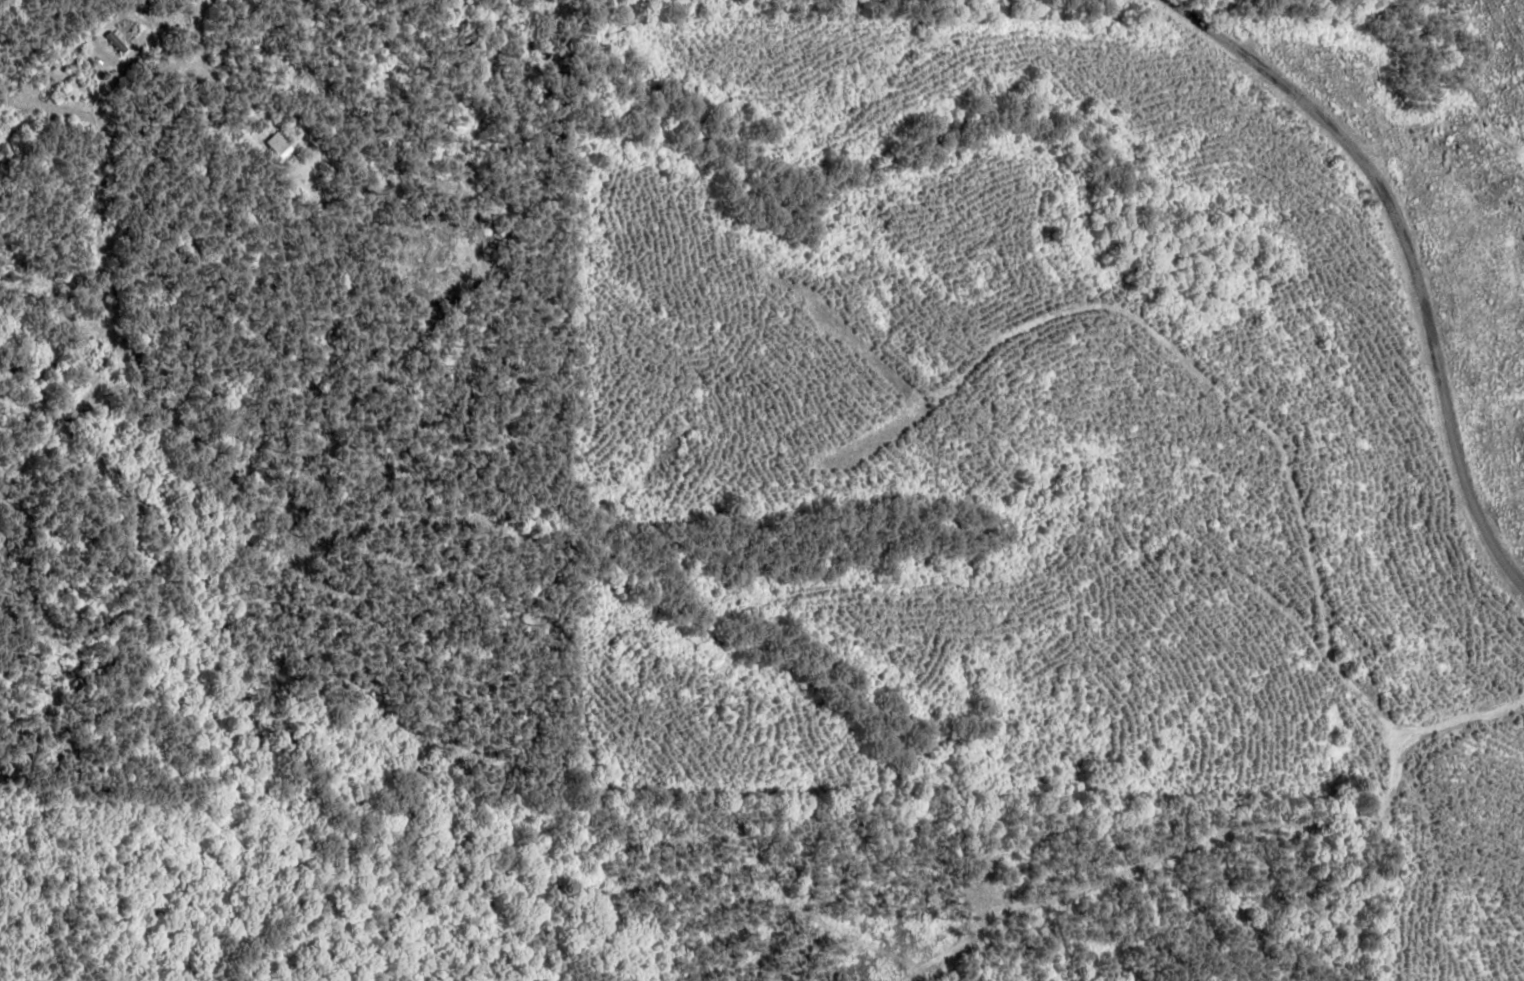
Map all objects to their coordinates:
road: (1391, 248)

